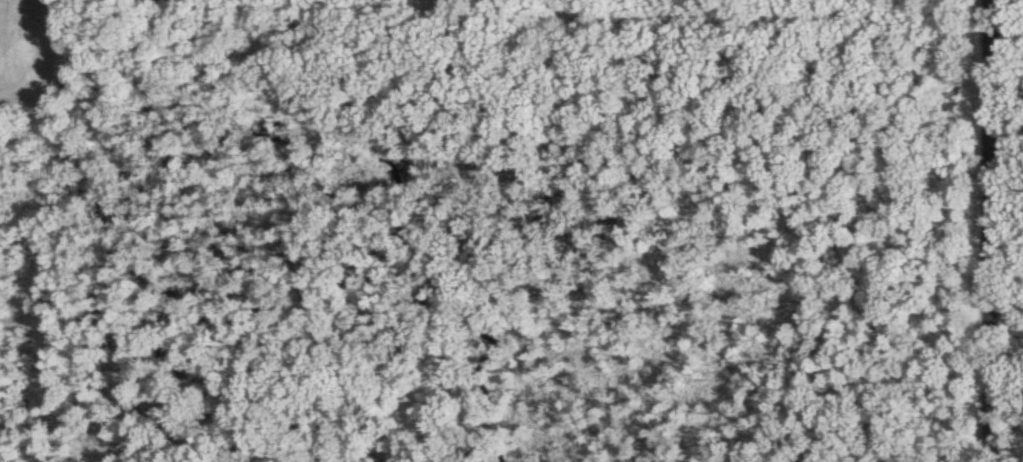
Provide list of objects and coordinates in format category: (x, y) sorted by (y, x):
road: (995, 231)

